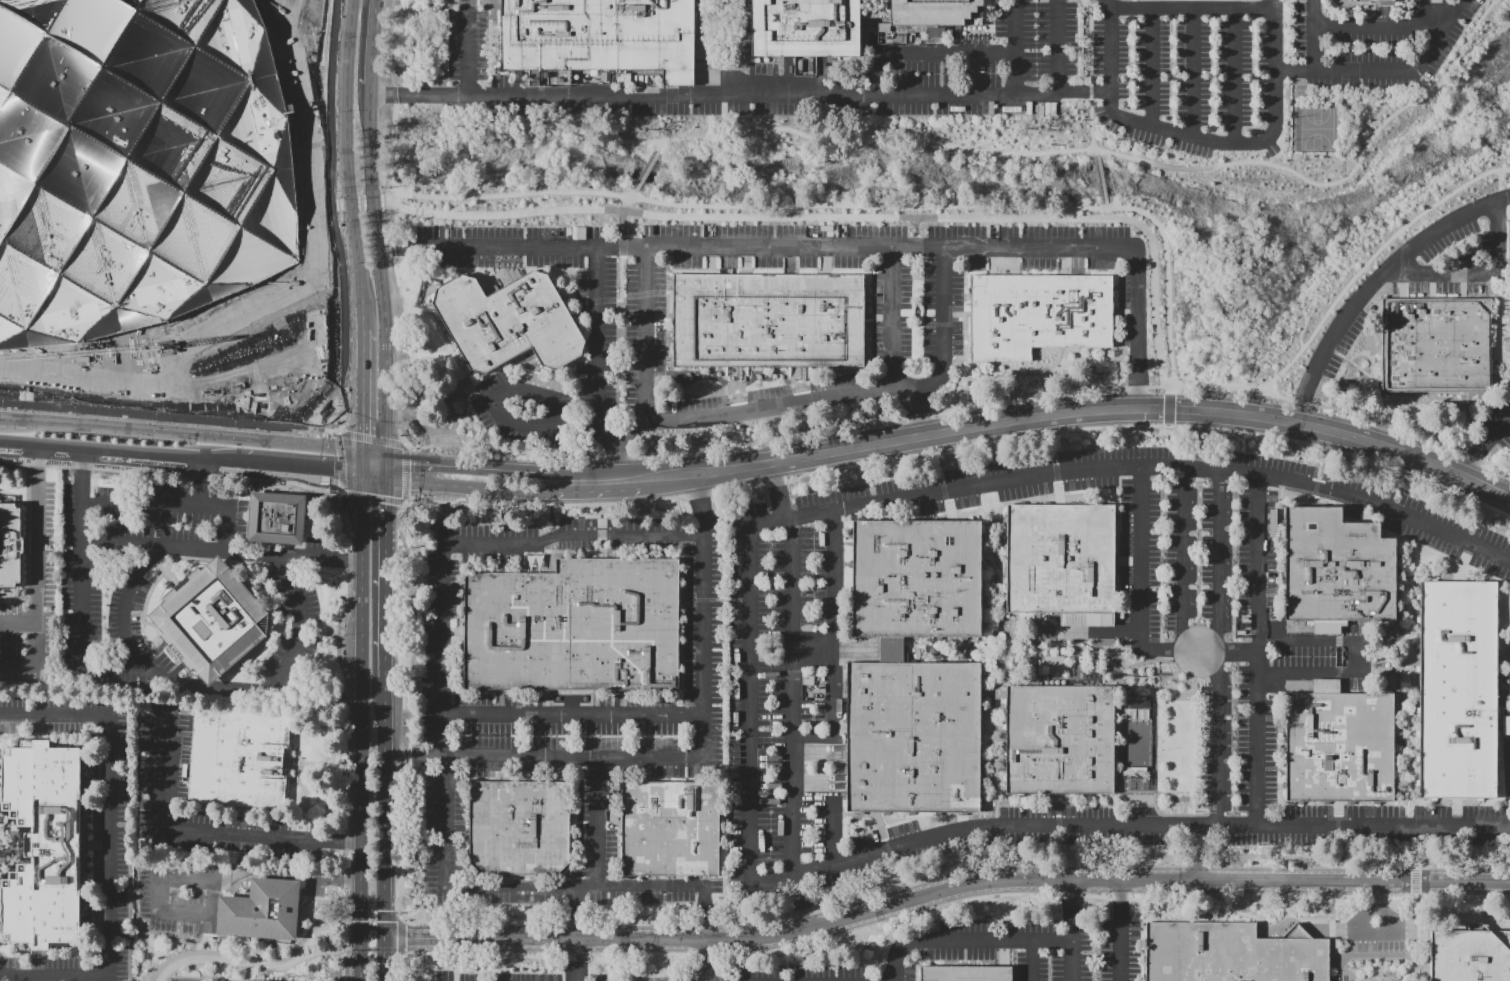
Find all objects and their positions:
building: (1368, 0)
road: (491, 1)
road: (473, 2)
road: (419, 3)
road: (1242, 7)
road: (1372, 9)
building: (937, 12)
road: (1418, 13)
building: (875, 14)
road: (1379, 26)
building: (806, 28)
road: (881, 31)
road: (372, 33)
building: (600, 36)
road: (874, 36)
road: (708, 46)
road: (467, 47)
road: (723, 48)
road: (947, 53)
road: (1151, 66)
road: (1386, 68)
parking lot: (1058, 69)
road: (1192, 71)
road: (1088, 74)
road: (1234, 74)
road: (1085, 86)
road: (759, 96)
road: (1370, 98)
road: (1317, 102)
park: (1378, 117)
road: (1345, 126)
park: (1316, 129)
road: (1172, 131)
road: (1319, 155)
road: (345, 156)
building: (137, 164)
road: (1346, 167)
road: (392, 173)
road: (461, 196)
road: (371, 201)
road: (349, 202)
road: (361, 202)
road: (338, 203)
road: (331, 204)
road: (327, 205)
road: (326, 209)
road: (1106, 214)
road: (386, 215)
road: (853, 217)
road: (333, 218)
road: (623, 221)
road: (918, 227)
road: (516, 245)
road: (621, 246)
road: (835, 246)
road: (406, 248)
road: (378, 260)
road: (1473, 271)
building: (1509, 275)
road: (1374, 283)
road: (1431, 285)
road: (1463, 285)
road: (1402, 286)
parking lot: (1367, 293)
road: (579, 301)
road: (1504, 304)
road: (1125, 311)
road: (1501, 312)
road: (957, 314)
building: (1038, 314)
road: (891, 315)
road: (659, 317)
road: (877, 317)
building: (768, 320)
road: (1371, 320)
building: (508, 322)
road: (965, 332)
road: (1505, 334)
parking lot: (891, 340)
building: (1434, 345)
road: (596, 349)
road: (1076, 351)
road: (1064, 357)
road: (1120, 358)
road: (1503, 358)
road: (1004, 363)
road: (1350, 363)
road: (1353, 363)
road: (995, 366)
road: (962, 367)
road: (554, 373)
road: (1025, 374)
road: (361, 380)
road: (529, 380)
road: (968, 380)
road: (1138, 387)
road: (1171, 391)
road: (858, 392)
road: (799, 393)
road: (1028, 393)
road: (684, 394)
road: (1265, 400)
road: (1301, 402)
road: (737, 404)
road: (166, 407)
road: (739, 409)
traffic signals: (361, 412)
road: (500, 412)
road: (916, 412)
road: (1079, 412)
road: (918, 414)
road: (173, 416)
road: (338, 417)
road: (346, 418)
road: (372, 422)
road: (1470, 422)
parking lot: (1499, 423)
road: (328, 424)
road: (1390, 424)
road: (370, 430)
road: (180, 433)
road: (327, 434)
road: (426, 437)
road: (769, 438)
road: (1201, 439)
road: (438, 443)
road: (425, 444)
road: (1483, 445)
road: (417, 448)
road: (115, 449)
road: (425, 449)
road: (373, 451)
road: (497, 452)
road: (766, 452)
road: (618, 454)
road: (324, 456)
road: (333, 456)
road: (1474, 458)
road: (361, 460)
traffic signals: (432, 460)
road: (385, 463)
road: (295, 464)
road: (470, 464)
traffic signals: (317, 466)
road: (1152, 466)
road: (174, 467)
road: (1495, 467)
road: (414, 470)
road: (423, 470)
road: (599, 471)
road: (173, 472)
road: (373, 472)
road: (1057, 477)
road: (322, 479)
road: (1062, 482)
road: (330, 483)
road: (470, 484)
road: (322, 485)
road: (322, 488)
road: (598, 488)
road: (777, 490)
road: (375, 491)
road: (422, 491)
road: (413, 495)
road: (421, 495)
road: (449, 495)
road: (675, 496)
road: (945, 496)
road: (374, 497)
road: (421, 499)
road: (162, 501)
road: (953, 501)
road: (405, 502)
traffic signals: (384, 504)
road: (986, 507)
building: (281, 518)
road: (602, 533)
building: (10, 543)
road: (470, 543)
road: (983, 543)
road: (187, 548)
road: (35, 550)
road: (556, 552)
road: (989, 552)
road: (1140, 558)
road: (318, 559)
building: (1060, 559)
building: (601, 561)
parking lot: (132, 566)
building: (1335, 567)
road: (384, 574)
building: (915, 578)
road: (81, 581)
road: (992, 594)
building: (1087, 619)
building: (210, 620)
road: (459, 620)
road: (436, 623)
parking lot: (293, 624)
road: (988, 625)
road: (302, 627)
building: (574, 627)
road: (1097, 632)
road: (464, 636)
road: (956, 644)
road: (834, 645)
road: (1009, 645)
road: (1181, 646)
road: (1218, 647)
building: (891, 649)
road: (916, 649)
road: (813, 650)
road: (1257, 650)
road: (1198, 651)
parking lot: (1508, 656)
road: (1358, 657)
parking lot: (1267, 673)
road: (233, 684)
road: (996, 688)
building: (1458, 690)
road: (792, 697)
road: (992, 709)
road: (749, 711)
road: (572, 714)
parking lot: (29, 715)
road: (360, 726)
road: (342, 736)
building: (912, 737)
building: (1059, 740)
building: (1339, 747)
road: (817, 752)
road: (683, 757)
building: (242, 759)
parking lot: (164, 763)
parking lot: (1506, 766)
road: (294, 767)
road: (1002, 774)
road: (999, 777)
road: (817, 782)
road: (307, 797)
road: (233, 806)
road: (876, 812)
road: (954, 812)
road: (1064, 815)
road: (597, 820)
road: (1059, 820)
road: (244, 825)
road: (1148, 825)
road: (293, 826)
road: (953, 827)
road: (383, 828)
building: (519, 828)
building: (670, 828)
parking lot: (104, 830)
road: (208, 833)
road: (833, 833)
building: (41, 844)
road: (887, 844)
road: (109, 845)
road: (1198, 852)
road: (222, 881)
road: (539, 887)
road: (943, 892)
parking lot: (181, 894)
road: (1377, 894)
road: (799, 902)
building: (261, 910)
road: (576, 912)
road: (378, 919)
road: (350, 929)
road: (1331, 930)
road: (1073, 931)
road: (1120, 931)
parking lot: (1380, 931)
road: (319, 933)
road: (966, 938)
road: (1354, 942)
parking lot: (1122, 947)
road: (356, 950)
building: (1232, 953)
building: (1469, 956)
road: (576, 960)
road: (1032, 960)
road: (224, 962)
road: (1379, 964)
parking lot: (28, 968)
road: (249, 972)
building: (966, 974)
parking lot: (184, 980)
building: (252, 980)

